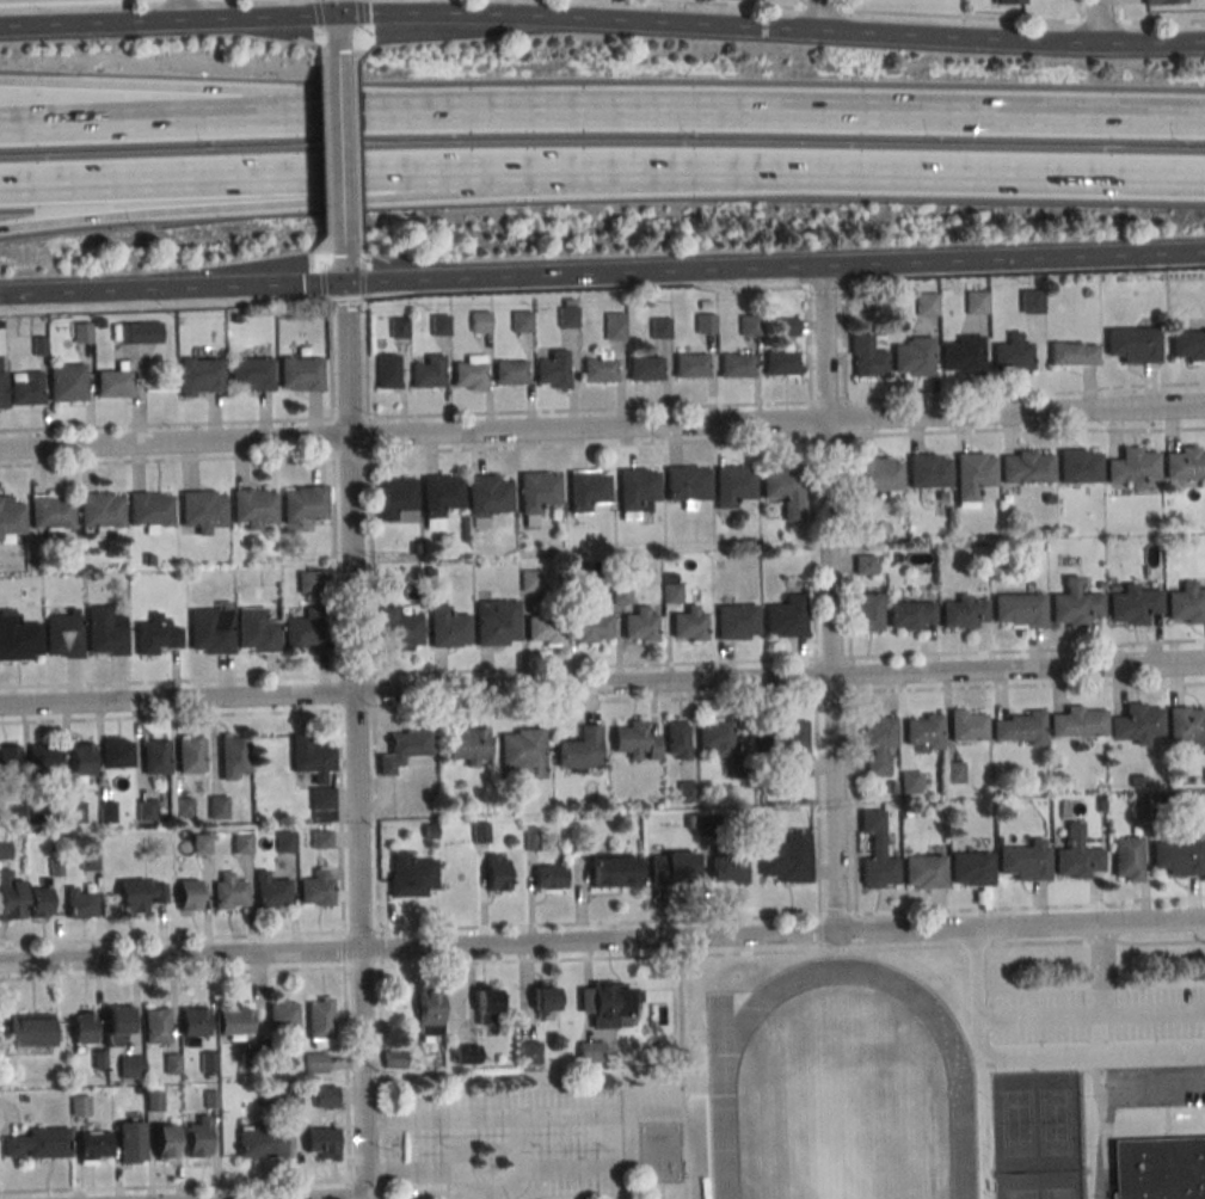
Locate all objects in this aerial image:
road: (60, 1)
building: (1009, 1)
building: (1162, 1)
road: (799, 4)
road: (843, 5)
road: (336, 7)
road: (1076, 10)
road: (1120, 10)
road: (184, 11)
road: (928, 12)
road: (361, 13)
road: (319, 16)
road: (819, 17)
road: (1096, 19)
road: (168, 21)
road: (578, 23)
road: (337, 31)
road: (959, 37)
road: (1151, 39)
road: (356, 51)
road: (324, 55)
road: (135, 88)
road: (357, 110)
road: (326, 111)
road: (779, 112)
road: (311, 113)
road: (134, 118)
road: (338, 153)
road: (359, 164)
road: (327, 166)
road: (928, 172)
road: (325, 174)
road: (361, 199)
road: (325, 201)
road: (328, 202)
road: (362, 239)
road: (328, 241)
road: (1015, 259)
road: (340, 271)
road: (583, 275)
road: (362, 283)
road: (324, 287)
road: (783, 288)
road: (170, 289)
building: (677, 296)
road: (343, 301)
building: (1031, 301)
building: (976, 302)
building: (926, 303)
road: (161, 308)
building: (567, 313)
building: (236, 320)
building: (481, 321)
building: (522, 321)
building: (100, 322)
building: (706, 322)
building: (439, 325)
building: (750, 325)
building: (615, 326)
building: (786, 326)
building: (399, 327)
building: (660, 327)
building: (82, 332)
building: (136, 332)
building: (1132, 344)
building: (1188, 344)
building: (39, 346)
building: (1012, 353)
building: (1072, 353)
building: (963, 355)
building: (868, 356)
building: (915, 356)
building: (781, 359)
building: (690, 364)
building: (736, 364)
building: (600, 365)
building: (645, 367)
building: (387, 370)
building: (553, 370)
building: (429, 371)
building: (469, 371)
building: (510, 371)
building: (251, 373)
building: (301, 373)
building: (201, 376)
building: (2, 381)
building: (113, 381)
building: (67, 382)
building: (26, 387)
road: (602, 410)
road: (602, 435)
road: (602, 444)
building: (1185, 463)
building: (1077, 467)
building: (1132, 467)
building: (1026, 468)
building: (929, 471)
building: (879, 474)
building: (973, 474)
building: (687, 484)
building: (734, 485)
building: (588, 490)
building: (785, 491)
building: (637, 492)
building: (539, 494)
building: (488, 497)
building: (395, 499)
building: (439, 499)
building: (1049, 499)
building: (305, 502)
building: (254, 508)
building: (648, 508)
building: (150, 509)
building: (203, 509)
building: (102, 511)
building: (53, 512)
building: (11, 518)
building: (413, 548)
building: (898, 557)
building: (148, 560)
building: (866, 564)
building: (416, 573)
building: (430, 573)
building: (670, 578)
building: (530, 579)
building: (313, 583)
building: (1100, 585)
building: (671, 591)
building: (621, 594)
road: (848, 597)
road: (813, 601)
road: (829, 602)
building: (1132, 603)
building: (1186, 603)
building: (1074, 604)
building: (1019, 610)
building: (869, 611)
building: (963, 613)
road: (371, 615)
building: (911, 615)
building: (787, 616)
road: (336, 617)
building: (497, 621)
building: (738, 621)
building: (589, 625)
building: (640, 625)
building: (688, 626)
building: (448, 627)
building: (398, 628)
building: (543, 629)
building: (106, 631)
building: (210, 631)
building: (258, 631)
building: (303, 632)
building: (63, 634)
building: (156, 635)
building: (19, 639)
road: (602, 666)
road: (602, 689)
road: (602, 701)
building: (1077, 724)
building: (1136, 724)
building: (966, 726)
building: (1187, 726)
building: (1020, 730)
building: (924, 732)
building: (717, 736)
building: (635, 739)
building: (677, 739)
road: (352, 740)
building: (879, 743)
building: (786, 744)
building: (469, 746)
building: (582, 748)
building: (404, 749)
building: (116, 751)
building: (522, 751)
building: (190, 754)
building: (45, 756)
building: (155, 756)
building: (234, 756)
building: (82, 760)
building: (10, 762)
building: (313, 767)
building: (740, 767)
building: (954, 771)
building: (910, 782)
building: (1138, 782)
building: (891, 787)
building: (688, 792)
building: (1161, 797)
building: (1100, 804)
building: (184, 806)
building: (217, 806)
building: (1139, 807)
building: (147, 811)
building: (106, 812)
building: (36, 813)
building: (75, 813)
building: (12, 817)
building: (688, 822)
building: (709, 825)
building: (430, 832)
building: (481, 834)
building: (320, 838)
building: (531, 840)
building: (241, 842)
building: (201, 843)
building: (285, 843)
building: (4, 850)
building: (877, 853)
building: (1077, 856)
building: (1178, 856)
building: (787, 859)
building: (1126, 859)
building: (88, 860)
building: (1026, 861)
building: (55, 867)
building: (672, 867)
building: (971, 868)
building: (728, 869)
building: (924, 871)
building: (497, 872)
building: (614, 872)
building: (411, 874)
building: (549, 877)
building: (316, 887)
building: (228, 891)
building: (271, 891)
building: (140, 893)
building: (189, 894)
building: (10, 896)
building: (38, 902)
building: (80, 903)
road: (1031, 908)
road: (837, 914)
road: (600, 923)
road: (361, 930)
road: (820, 933)
road: (172, 937)
road: (602, 947)
road: (379, 948)
road: (344, 949)
road: (792, 951)
road: (362, 966)
road: (172, 973)
road: (1102, 973)
road: (976, 977)
building: (545, 998)
building: (608, 1002)
building: (487, 1008)
building: (282, 1014)
building: (430, 1014)
parking lot: (1098, 1014)
building: (658, 1015)
road: (1090, 1017)
building: (235, 1020)
building: (320, 1020)
building: (195, 1021)
building: (155, 1025)
building: (82, 1026)
building: (118, 1026)
building: (30, 1031)
building: (266, 1051)
building: (591, 1051)
road: (1077, 1051)
building: (529, 1052)
building: (466, 1053)
building: (394, 1058)
building: (99, 1059)
building: (248, 1062)
building: (314, 1062)
building: (208, 1063)
building: (129, 1065)
building: (172, 1065)
road: (346, 1076)
road: (684, 1077)
road: (381, 1082)
track: (842, 1095)
building: (283, 1096)
building: (325, 1096)
building: (24, 1099)
building: (153, 1100)
building: (210, 1100)
building: (80, 1105)
park: (1035, 1120)
road: (1102, 1124)
park: (843, 1133)
building: (197, 1139)
building: (320, 1140)
road: (521, 1140)
building: (130, 1142)
building: (165, 1142)
building: (260, 1142)
building: (37, 1143)
road: (460, 1143)
building: (93, 1145)
road: (616, 1158)
building: (1158, 1168)
road: (617, 1174)
park: (1039, 1185)
road: (174, 1186)
road: (350, 1192)

